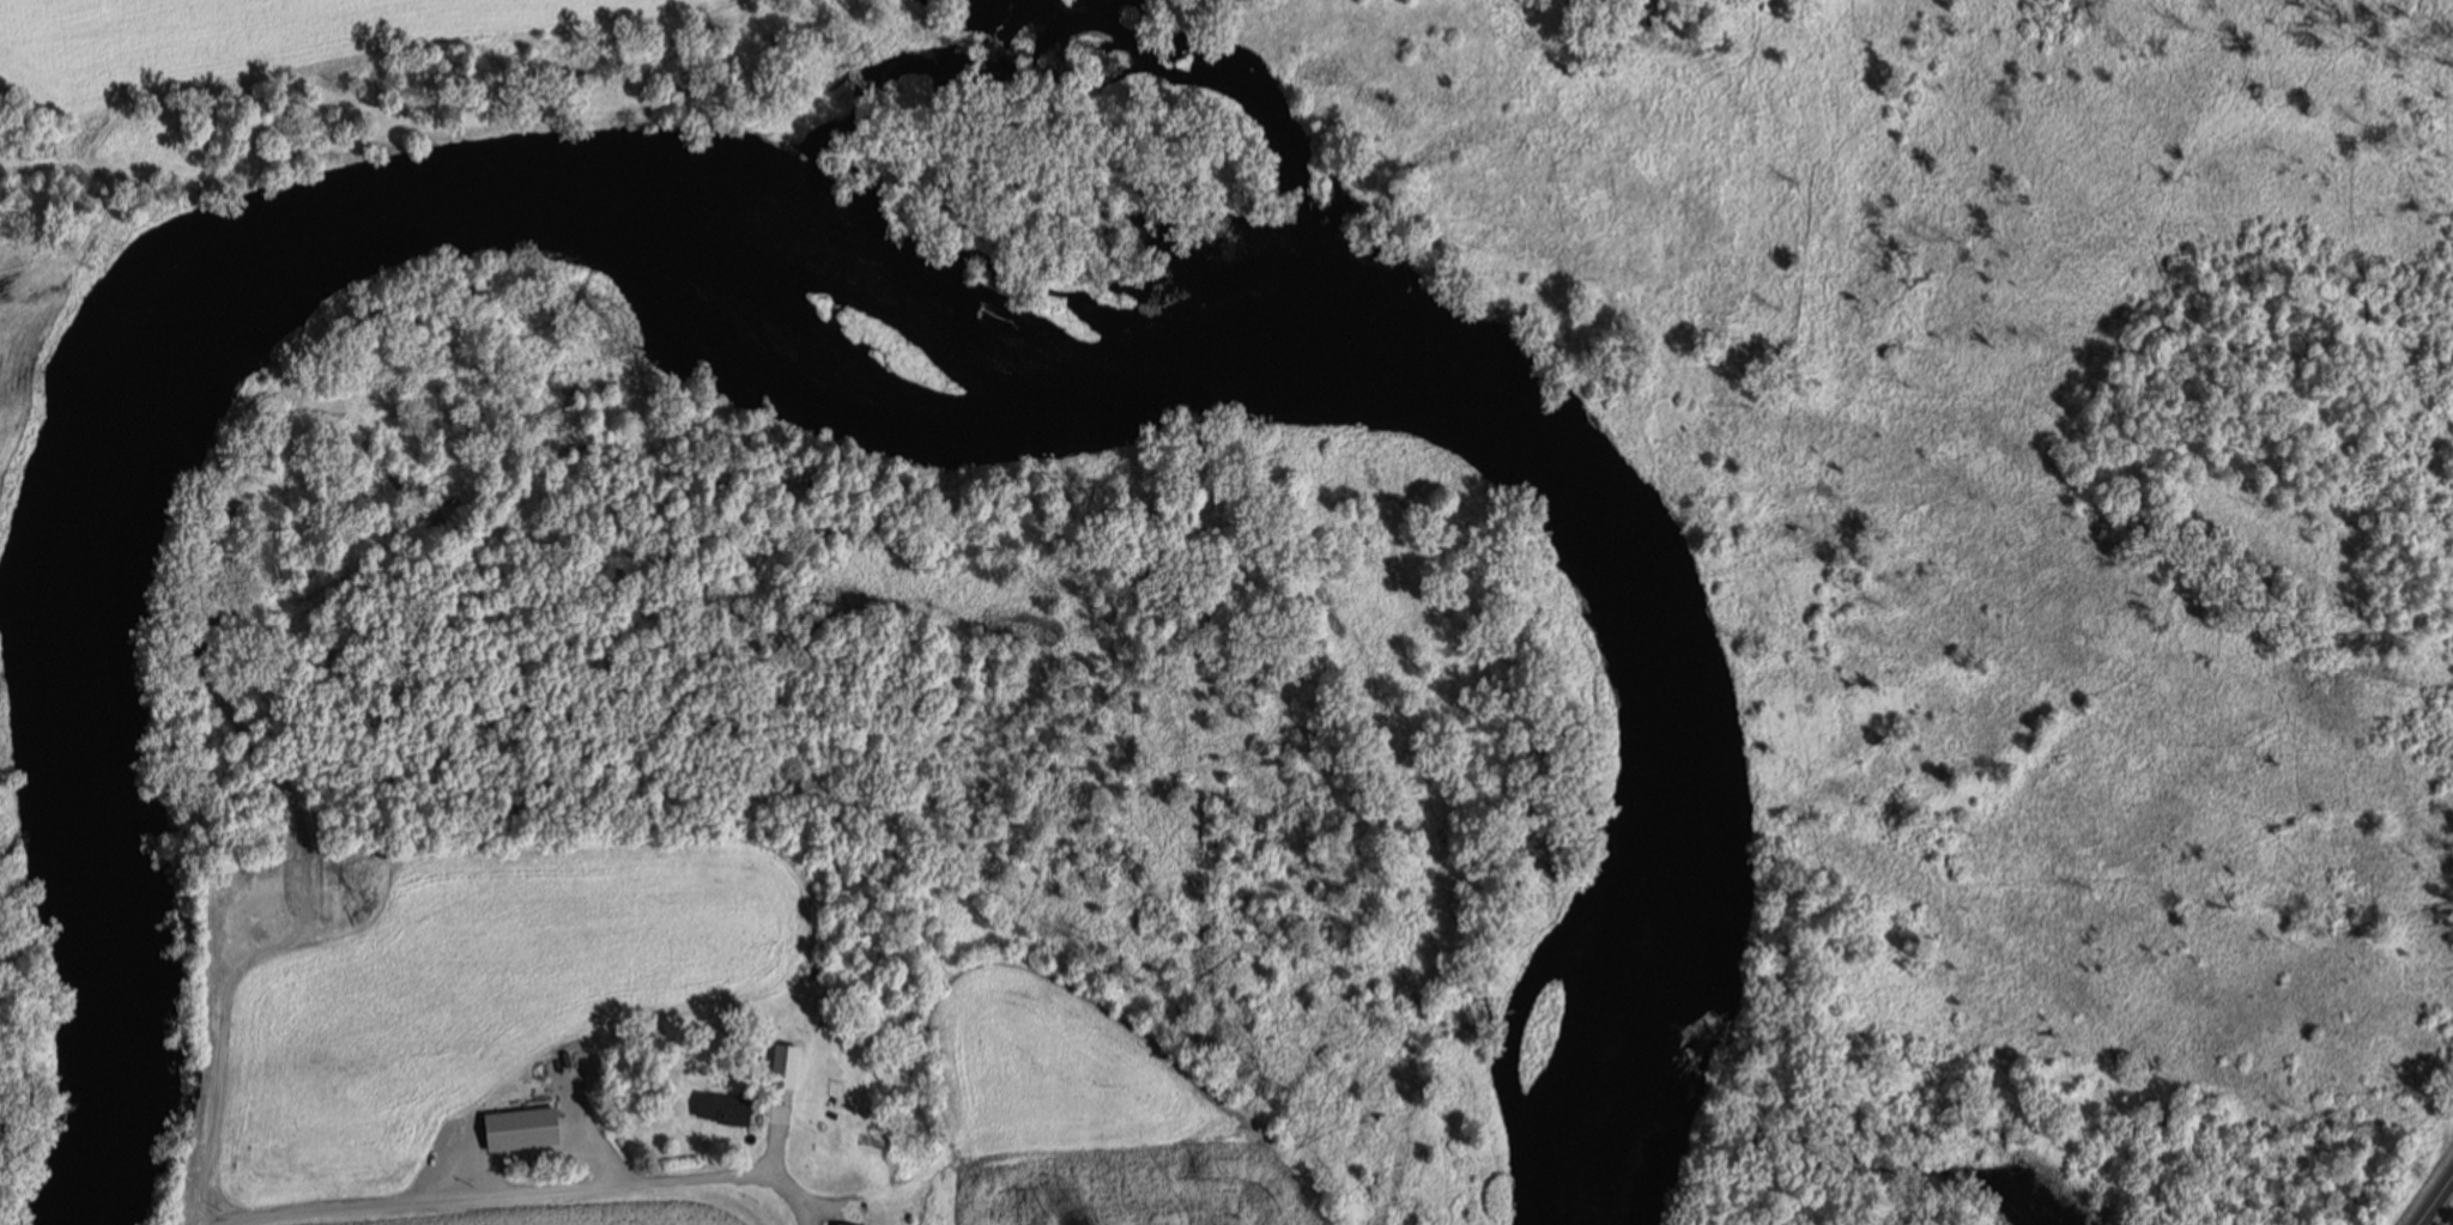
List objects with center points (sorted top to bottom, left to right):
crop: (217, 41)
crop: (1, 138)
river: (798, 323)
crop: (460, 1026)
building: (727, 1109)
crop: (1094, 1111)
road: (485, 1193)
road: (2434, 1197)
building: (850, 1224)

